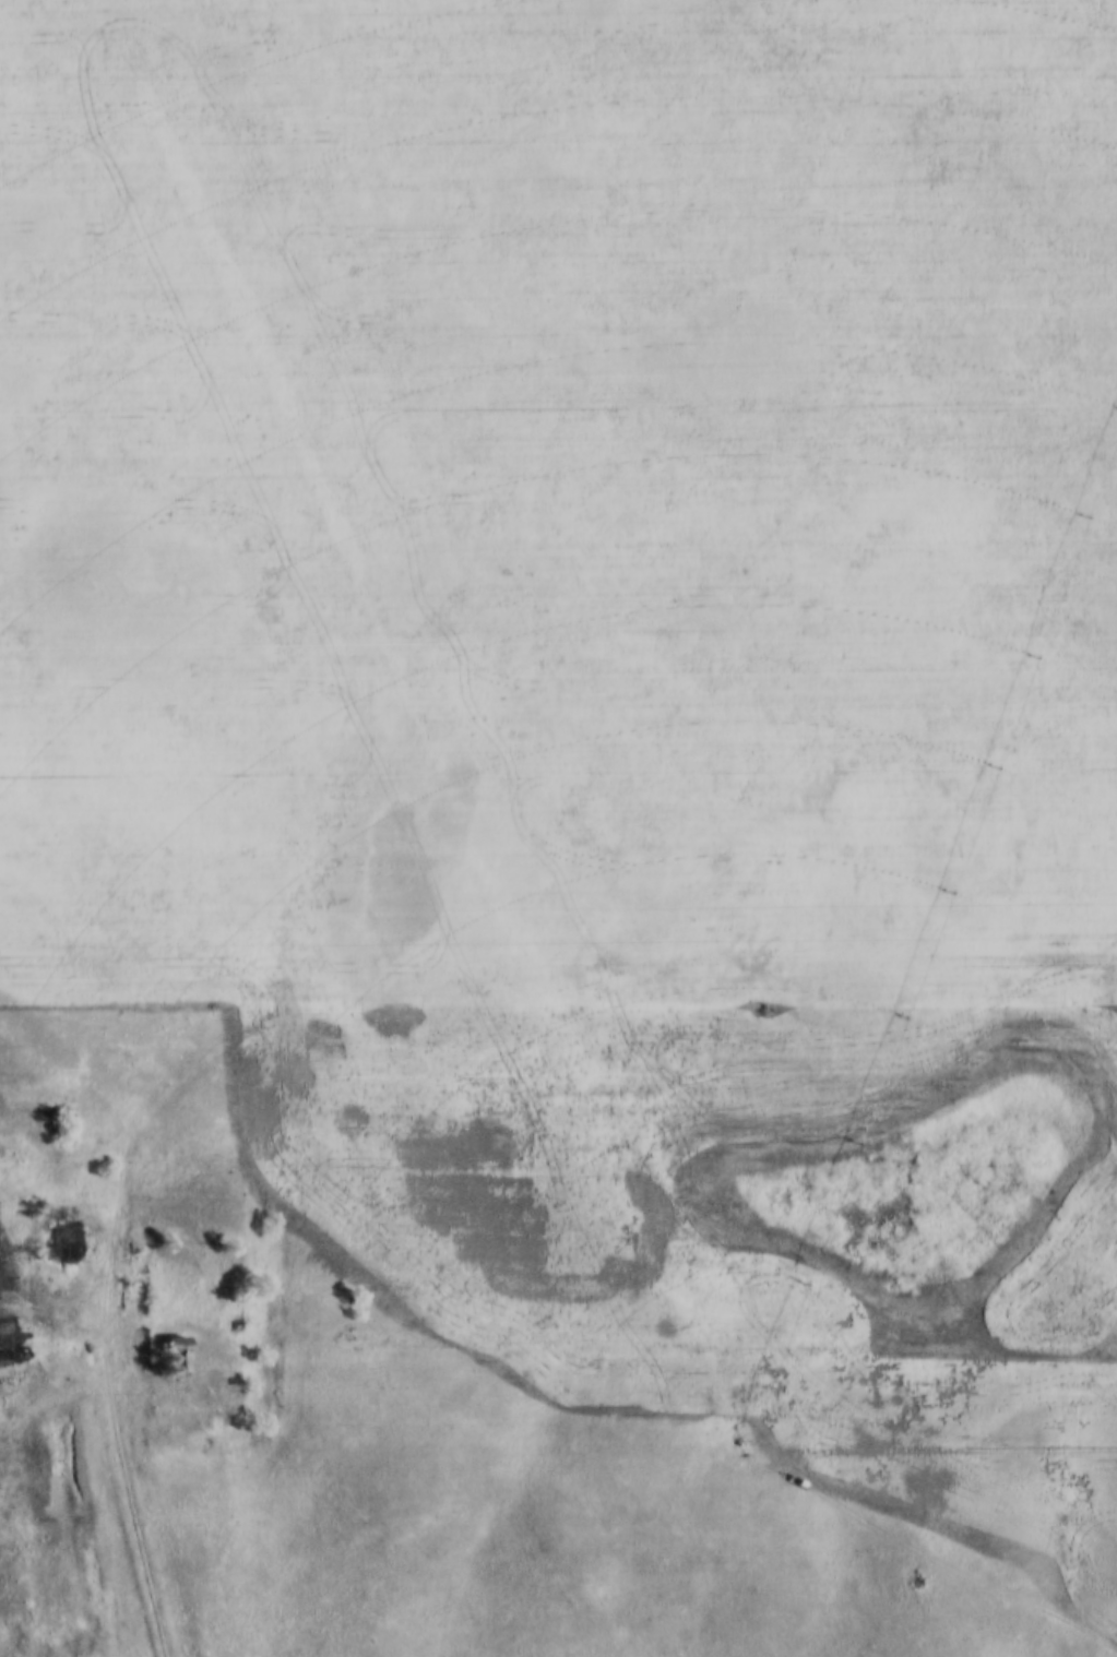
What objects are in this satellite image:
building: (69, 1245)
building: (4, 1338)
building: (174, 1350)
road: (139, 1519)

